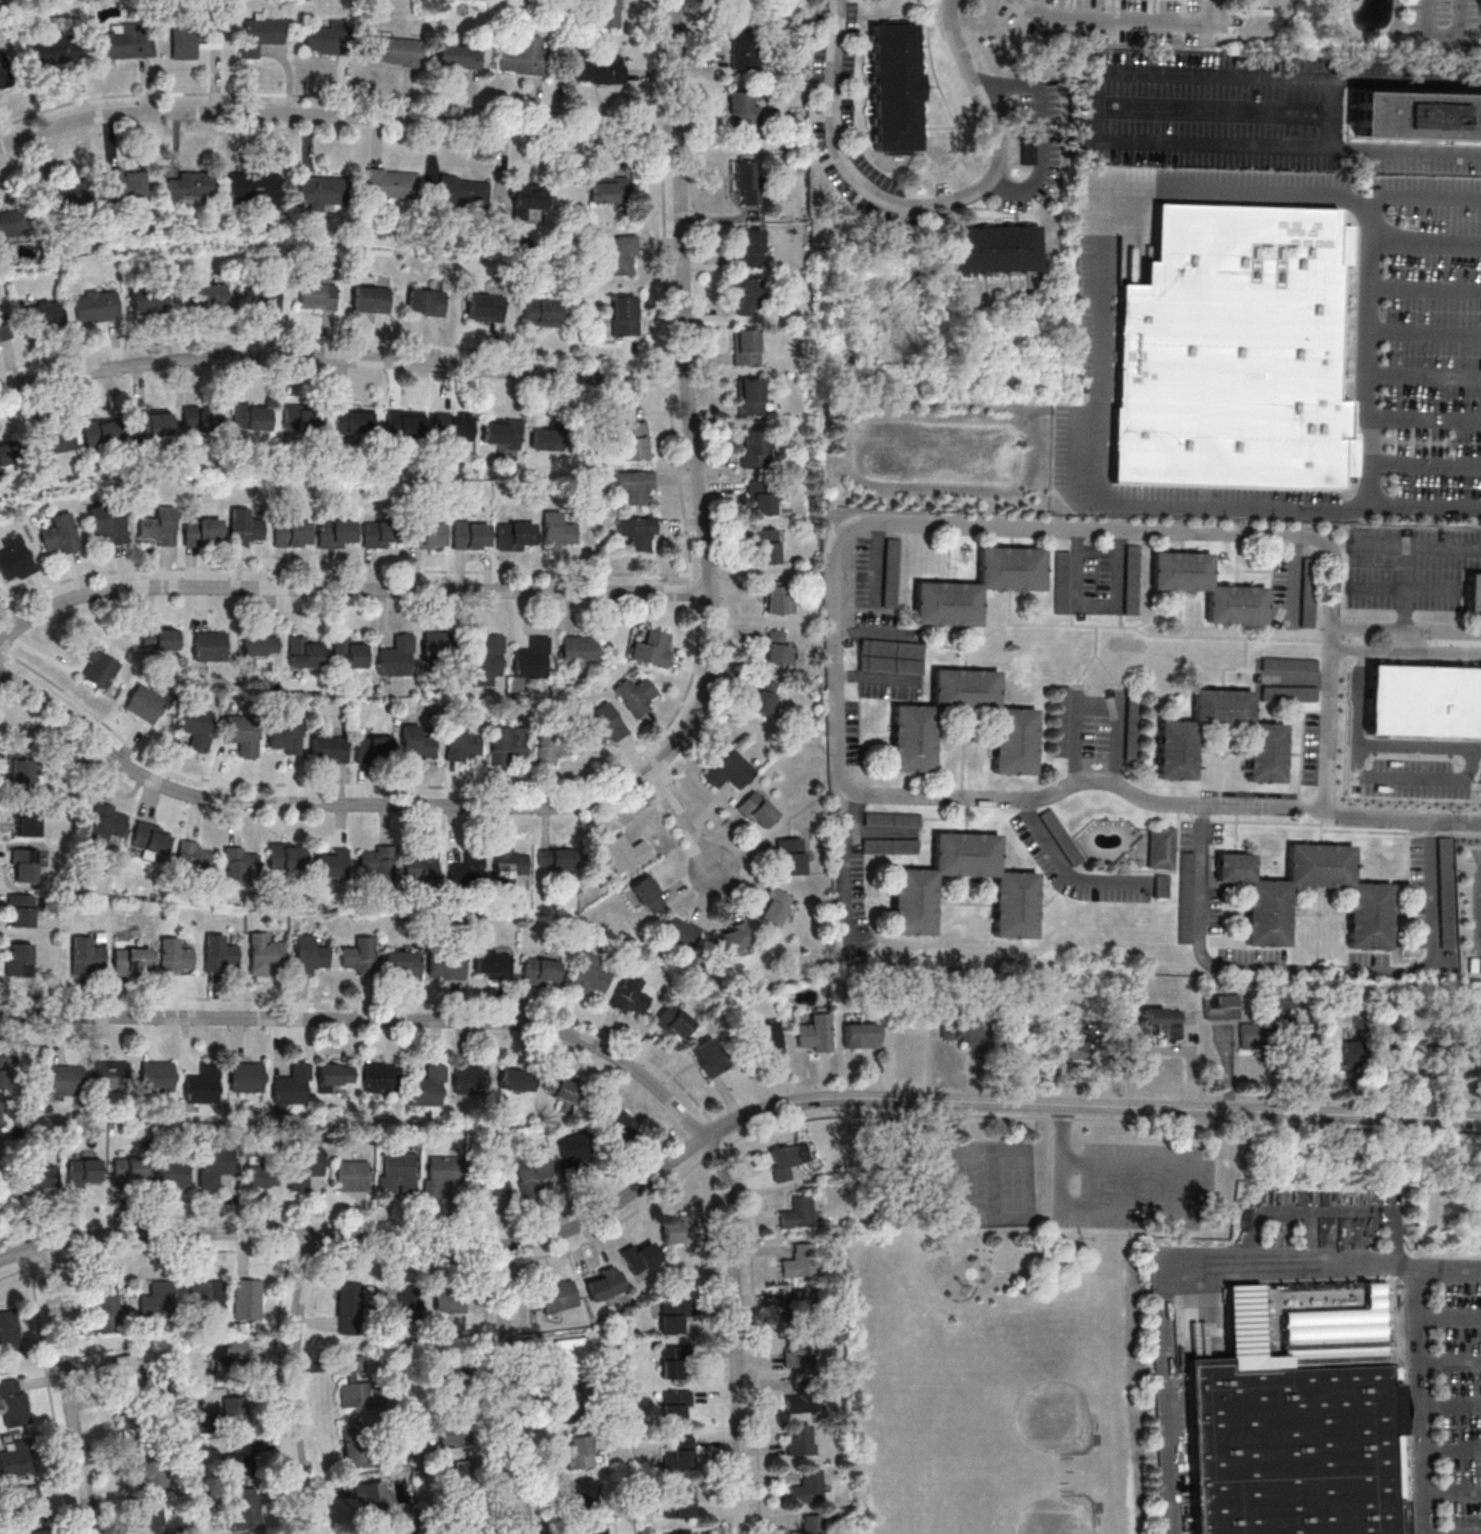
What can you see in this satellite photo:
building: (609, 13)
road: (1112, 16)
building: (261, 34)
building: (327, 38)
building: (184, 42)
building: (125, 43)
building: (746, 48)
building: (396, 50)
building: (459, 56)
building: (523, 56)
building: (601, 68)
building: (897, 87)
road: (1099, 109)
building: (747, 110)
parking lot: (1278, 114)
building: (1417, 114)
road: (338, 115)
road: (1045, 130)
building: (751, 182)
building: (125, 183)
building: (392, 183)
building: (190, 185)
building: (256, 188)
building: (610, 189)
building: (322, 190)
building: (464, 190)
building: (527, 199)
road: (928, 206)
road: (1428, 242)
building: (753, 247)
building: (998, 248)
building: (619, 254)
road: (1428, 288)
building: (210, 294)
building: (317, 295)
building: (748, 296)
building: (261, 297)
building: (371, 299)
building: (150, 300)
building: (426, 302)
building: (88, 306)
building: (486, 307)
building: (543, 312)
building: (42, 314)
building: (627, 315)
road: (1428, 332)
parking lot: (1276, 344)
building: (749, 346)
road: (1101, 346)
building: (1231, 349)
road: (1375, 357)
road: (344, 360)
road: (1428, 375)
building: (753, 396)
building: (251, 416)
building: (302, 417)
building: (201, 418)
road: (1427, 418)
building: (353, 420)
building: (153, 422)
building: (405, 423)
building: (454, 427)
building: (502, 431)
building: (102, 432)
building: (548, 439)
building: (53, 441)
building: (636, 441)
building: (755, 448)
road: (1427, 466)
building: (636, 485)
building: (762, 496)
building: (107, 525)
building: (160, 526)
building: (246, 528)
building: (203, 530)
road: (1093, 530)
building: (559, 531)
building: (639, 532)
building: (292, 533)
building: (338, 533)
building: (60, 534)
building: (379, 534)
building: (472, 534)
building: (428, 535)
building: (517, 535)
building: (768, 545)
road: (1407, 550)
building: (15, 558)
parking lot: (1412, 568)
building: (893, 573)
building: (1063, 581)
building: (979, 585)
building: (1209, 587)
road: (348, 588)
building: (1309, 591)
building: (1473, 595)
building: (780, 598)
building: (1132, 603)
road: (1098, 605)
road: (1405, 630)
road: (879, 634)
building: (159, 638)
road: (1404, 638)
building: (211, 645)
building: (261, 645)
road: (1406, 647)
building: (655, 648)
building: (781, 648)
building: (440, 650)
building: (580, 650)
building: (304, 652)
building: (349, 653)
building: (398, 656)
building: (534, 658)
building: (488, 662)
building: (1290, 664)
road: (878, 679)
building: (1452, 689)
building: (1289, 693)
building: (638, 694)
building: (766, 696)
building: (145, 703)
building: (1062, 720)
building: (607, 724)
building: (196, 726)
building: (243, 734)
parking lot: (1407, 735)
road: (683, 737)
building: (285, 738)
road: (1079, 739)
building: (1015, 740)
building: (463, 741)
road: (1120, 742)
building: (419, 743)
building: (555, 743)
building: (508, 745)
building: (329, 748)
building: (374, 748)
road: (1415, 748)
building: (1266, 752)
building: (731, 770)
road: (1368, 778)
road: (1158, 801)
building: (759, 810)
road: (684, 820)
building: (110, 824)
building: (29, 825)
building: (1063, 836)
building: (150, 839)
building: (1161, 847)
building: (626, 852)
building: (193, 855)
building: (288, 855)
building: (794, 855)
building: (557, 858)
building: (377, 862)
building: (332, 863)
building: (421, 863)
building: (509, 863)
building: (25, 865)
building: (239, 865)
road: (855, 867)
road: (1067, 867)
building: (468, 869)
building: (1163, 886)
building: (650, 894)
building: (1017, 905)
building: (776, 906)
parking lot: (1474, 907)
building: (21, 911)
building: (1370, 915)
building: (682, 931)
building: (735, 938)
building: (219, 953)
building: (265, 954)
building: (311, 954)
building: (359, 955)
building: (174, 956)
building: (20, 960)
building: (133, 960)
building: (403, 964)
building: (493, 965)
building: (446, 966)
road: (1313, 969)
building: (541, 971)
building: (591, 974)
building: (633, 995)
building: (1222, 1006)
building: (675, 1021)
building: (1163, 1022)
building: (965, 1028)
building: (818, 1033)
road: (572, 1034)
building: (864, 1035)
building: (1249, 1035)
building: (773, 1039)
building: (1072, 1049)
building: (1301, 1050)
road: (1165, 1051)
building: (1353, 1051)
building: (711, 1057)
building: (1439, 1058)
building: (1388, 1064)
building: (112, 1074)
building: (157, 1075)
building: (334, 1075)
building: (247, 1076)
building: (379, 1077)
building: (469, 1077)
building: (518, 1079)
building: (203, 1083)
building: (292, 1084)
building: (429, 1086)
building: (560, 1087)
road: (1051, 1117)
building: (619, 1124)
road: (724, 1131)
building: (574, 1149)
road: (1063, 1155)
building: (788, 1160)
building: (215, 1166)
building: (304, 1166)
building: (129, 1170)
building: (531, 1170)
building: (83, 1171)
building: (397, 1172)
building: (172, 1174)
building: (260, 1174)
building: (440, 1174)
building: (351, 1175)
building: (40, 1176)
park: (996, 1186)
building: (490, 1188)
road: (1196, 1189)
parking lot: (1140, 1190)
building: (799, 1211)
road: (1045, 1212)
road: (1051, 1214)
building: (681, 1229)
building: (641, 1256)
building: (800, 1261)
road: (1163, 1276)
building: (604, 1283)
building: (557, 1294)
building: (204, 1295)
building: (158, 1298)
building: (247, 1298)
building: (350, 1301)
building: (449, 1301)
building: (797, 1302)
building: (107, 1307)
building: (673, 1316)
park: (1020, 1323)
building: (799, 1350)
building: (571, 1354)
building: (231, 1361)
building: (673, 1362)
road: (1420, 1367)
building: (128, 1370)
road: (295, 1386)
building: (359, 1386)
park: (1026, 1387)
road: (72, 1391)
road: (511, 1391)
building: (805, 1397)
building: (572, 1401)
building: (12, 1402)
building: (675, 1405)
building: (232, 1406)
parking lot: (1460, 1406)
building: (132, 1430)
building: (456, 1437)
building: (800, 1439)
building: (356, 1445)
building: (1290, 1445)
building: (578, 1452)
building: (679, 1453)
building: (238, 1462)
building: (467, 1473)
building: (151, 1479)
building: (809, 1487)
building: (583, 1495)
building: (374, 1497)
building: (29, 1499)
building: (680, 1502)
building: (245, 1510)
building: (152, 1519)
park: (1019, 1523)
building: (812, 1524)
building: (593, 1529)
building: (38, 1531)
building: (680, 1533)

